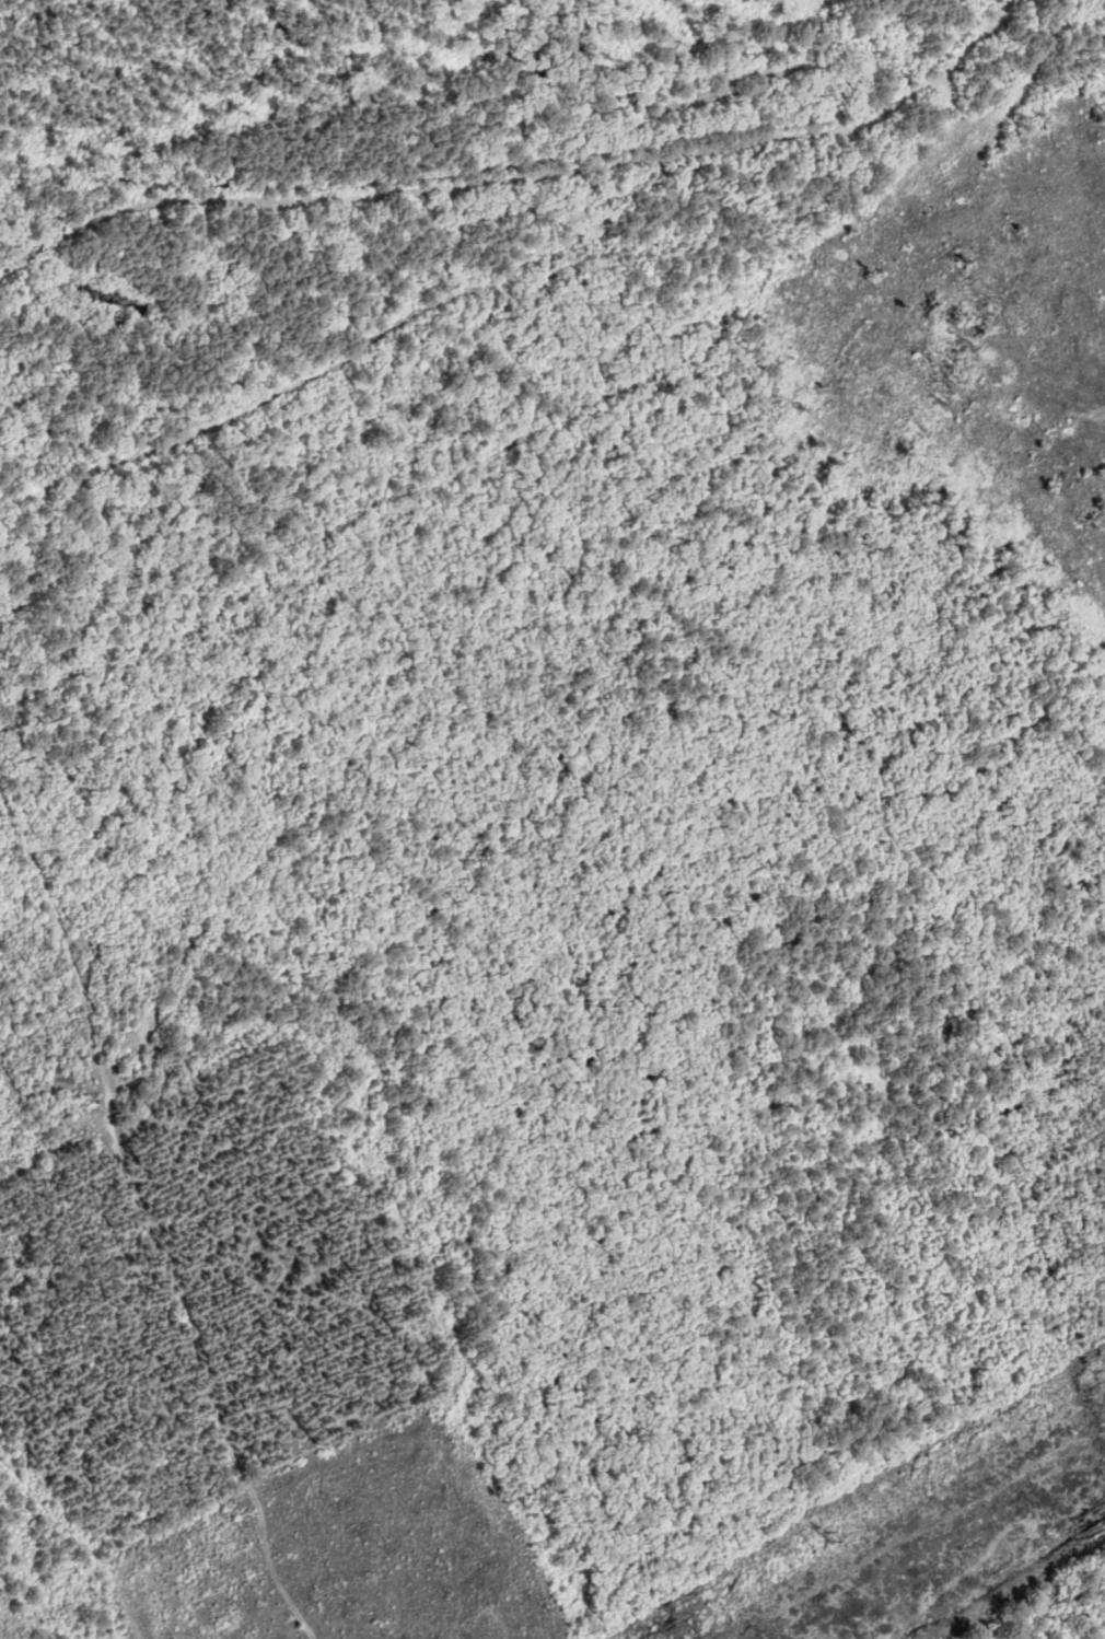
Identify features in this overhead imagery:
power tower: (829, 1535)
power tower: (764, 1630)
power tower: (862, 1634)

